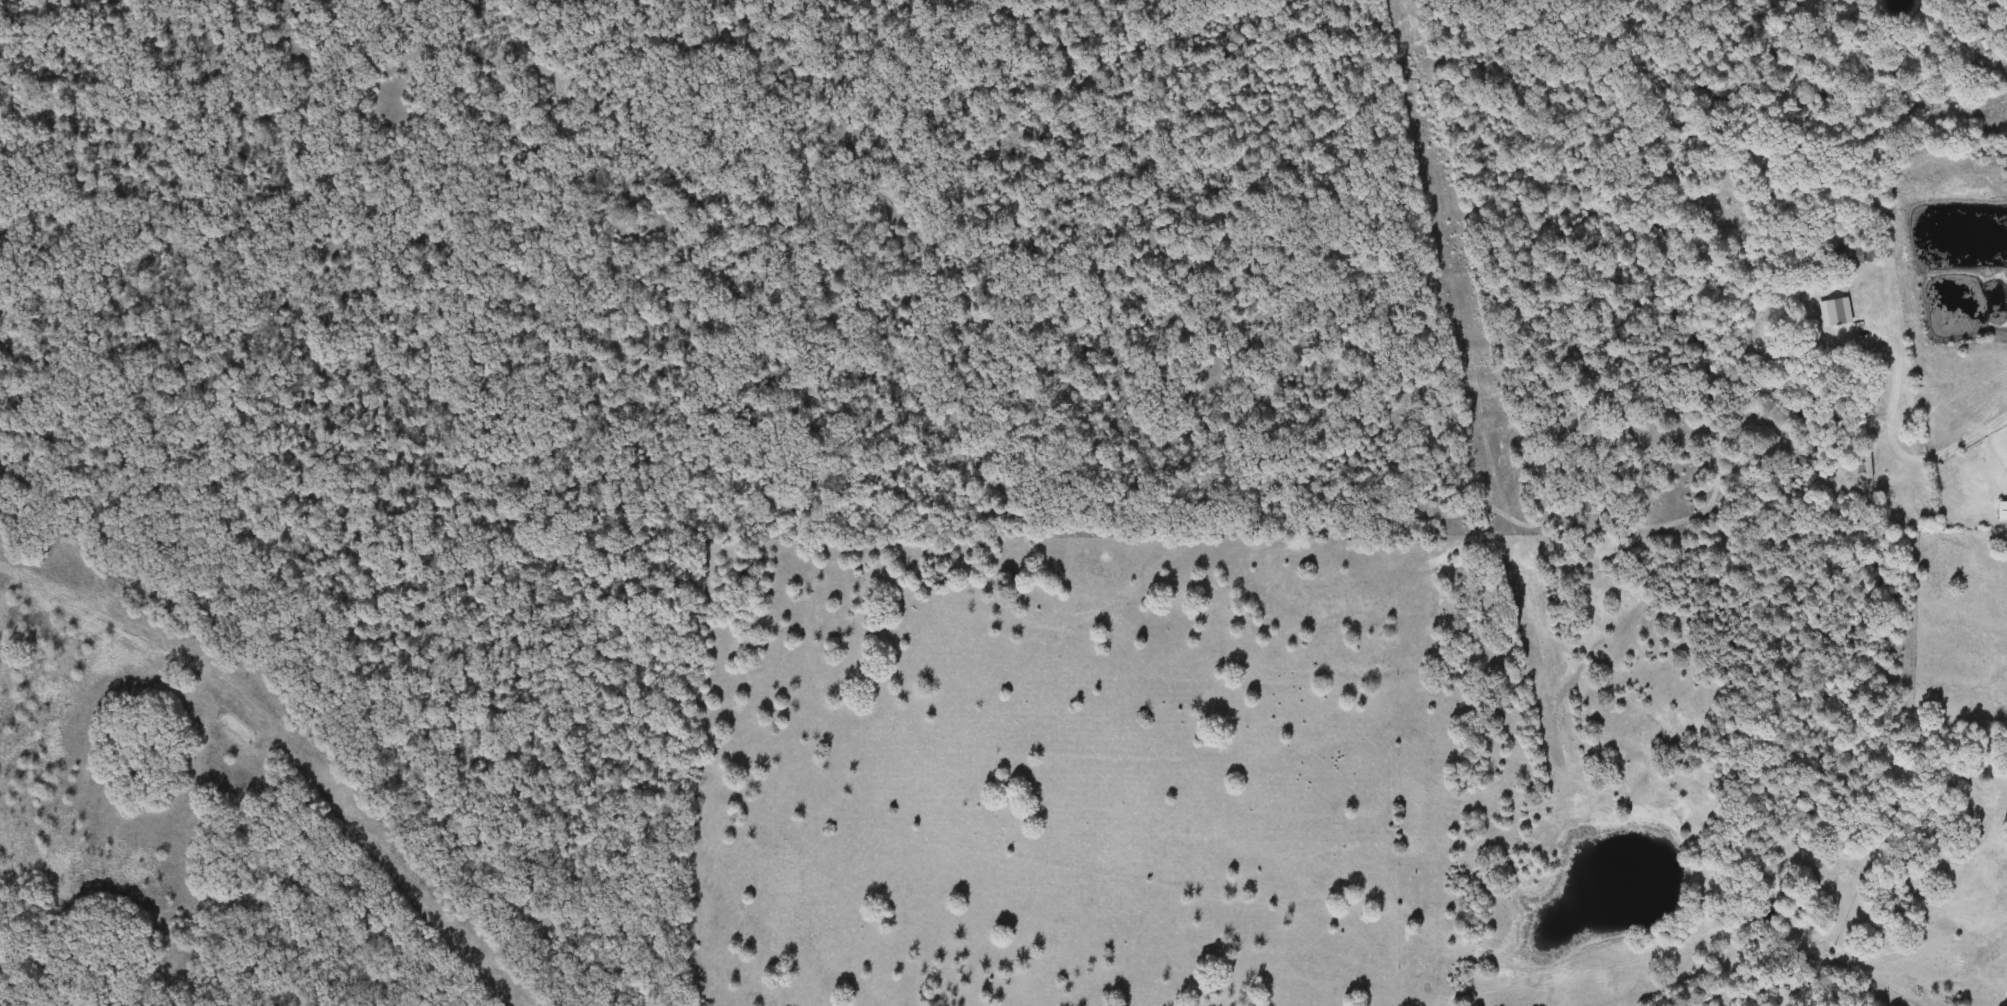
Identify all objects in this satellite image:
building: (1986, 19)
building: (1848, 255)
building: (1834, 312)
road: (1903, 445)
building: (1868, 460)
building: (2001, 511)

